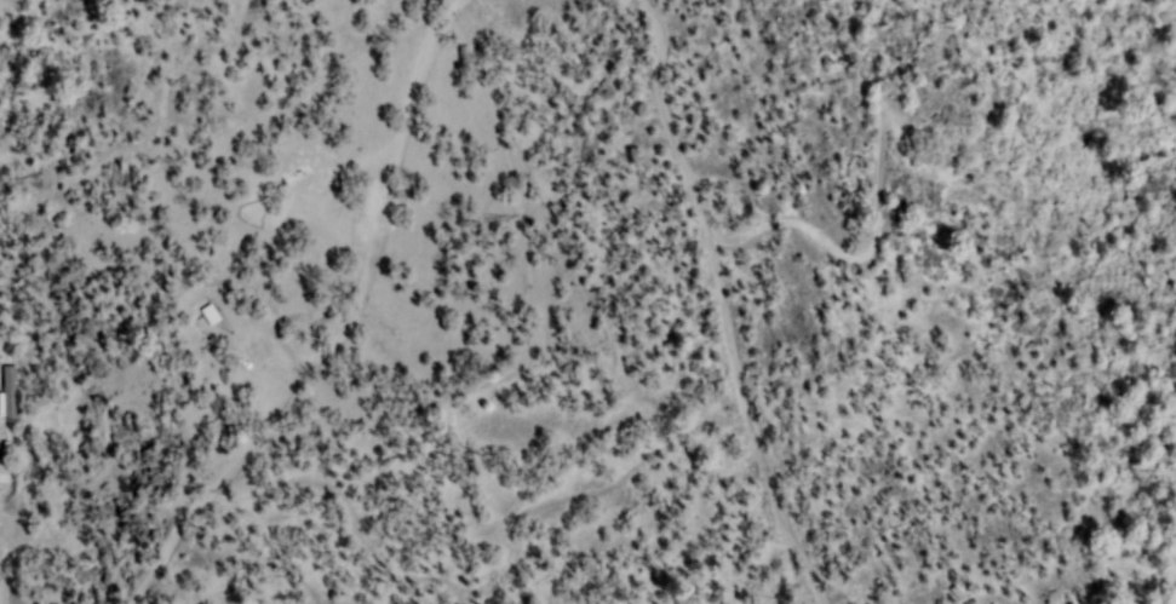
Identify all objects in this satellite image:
building: (211, 313)
building: (8, 396)
building: (6, 451)
building: (4, 474)
building: (957, 593)

